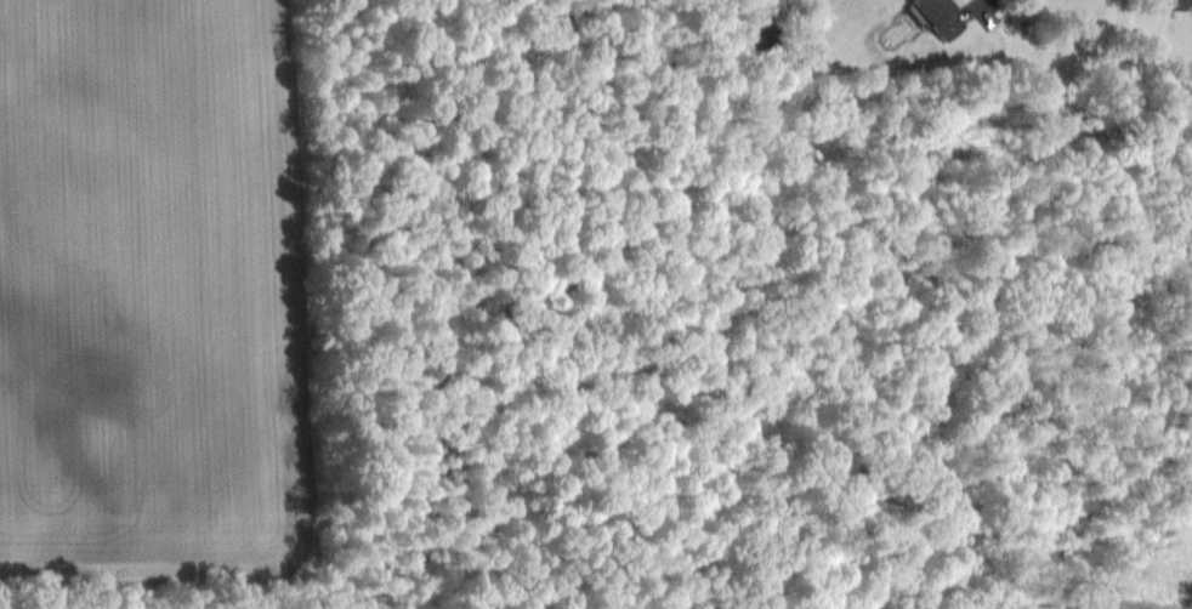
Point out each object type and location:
building: (1179, 4)
building: (938, 16)

